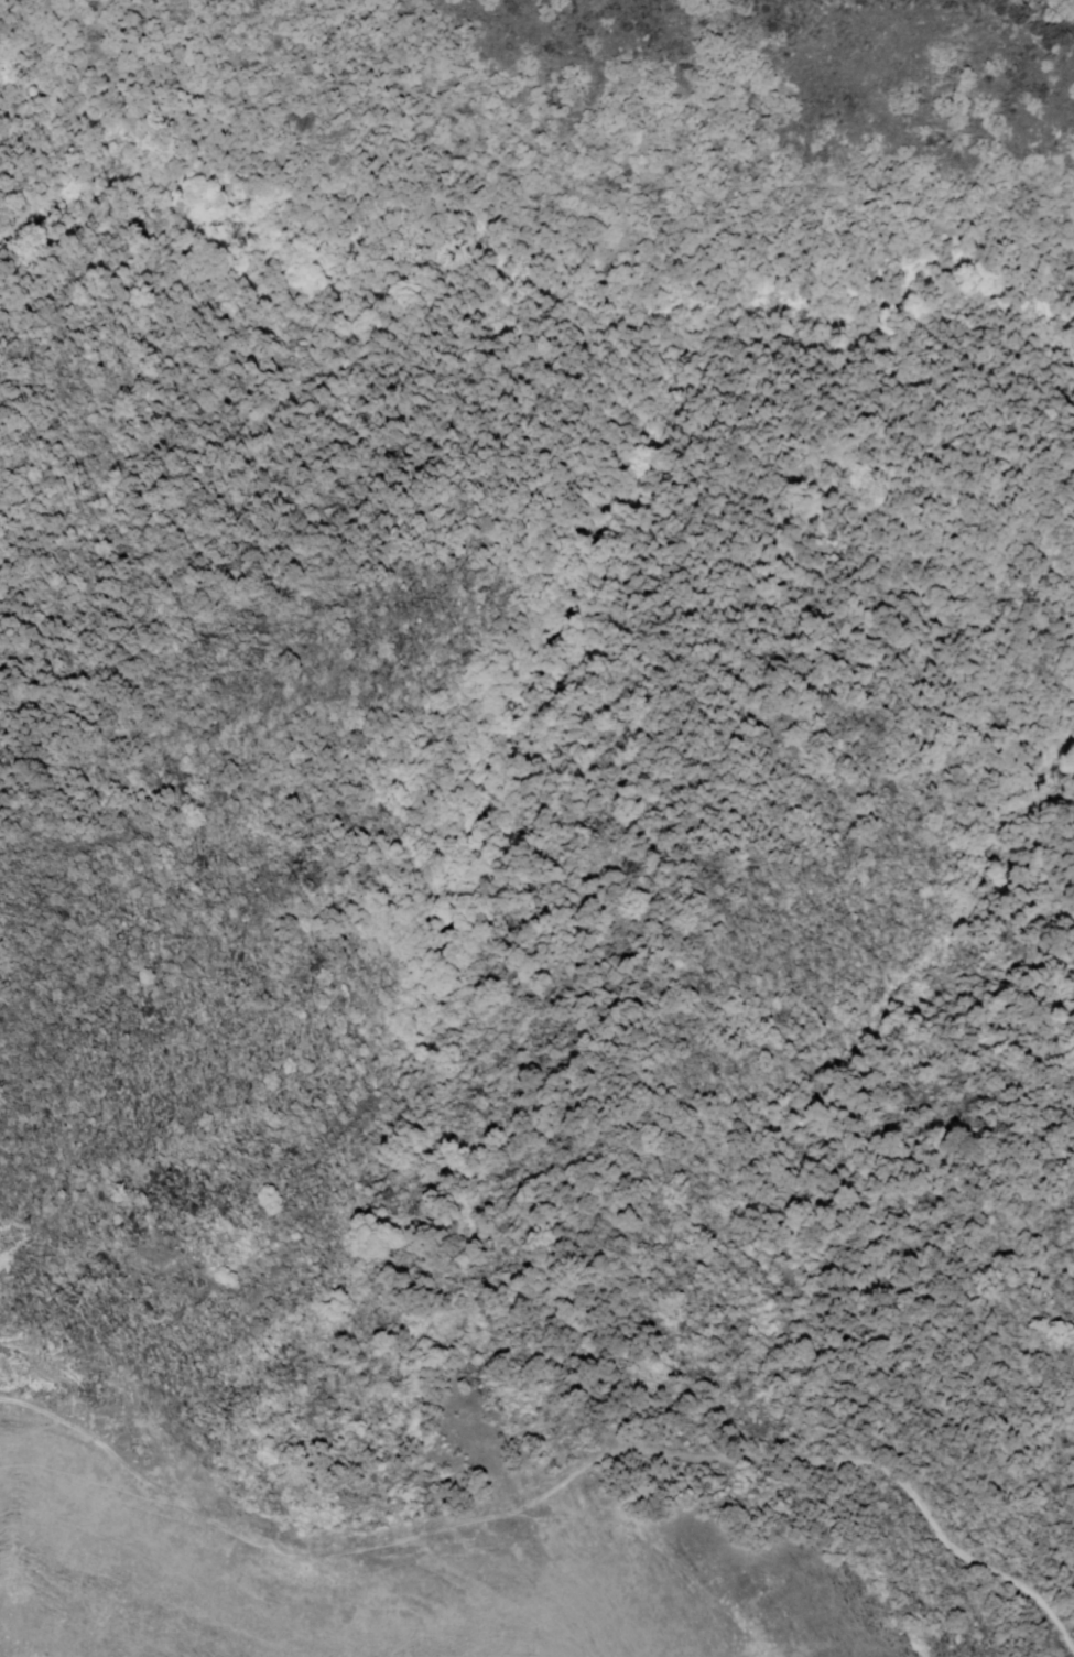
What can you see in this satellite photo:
road: (555, 1485)

